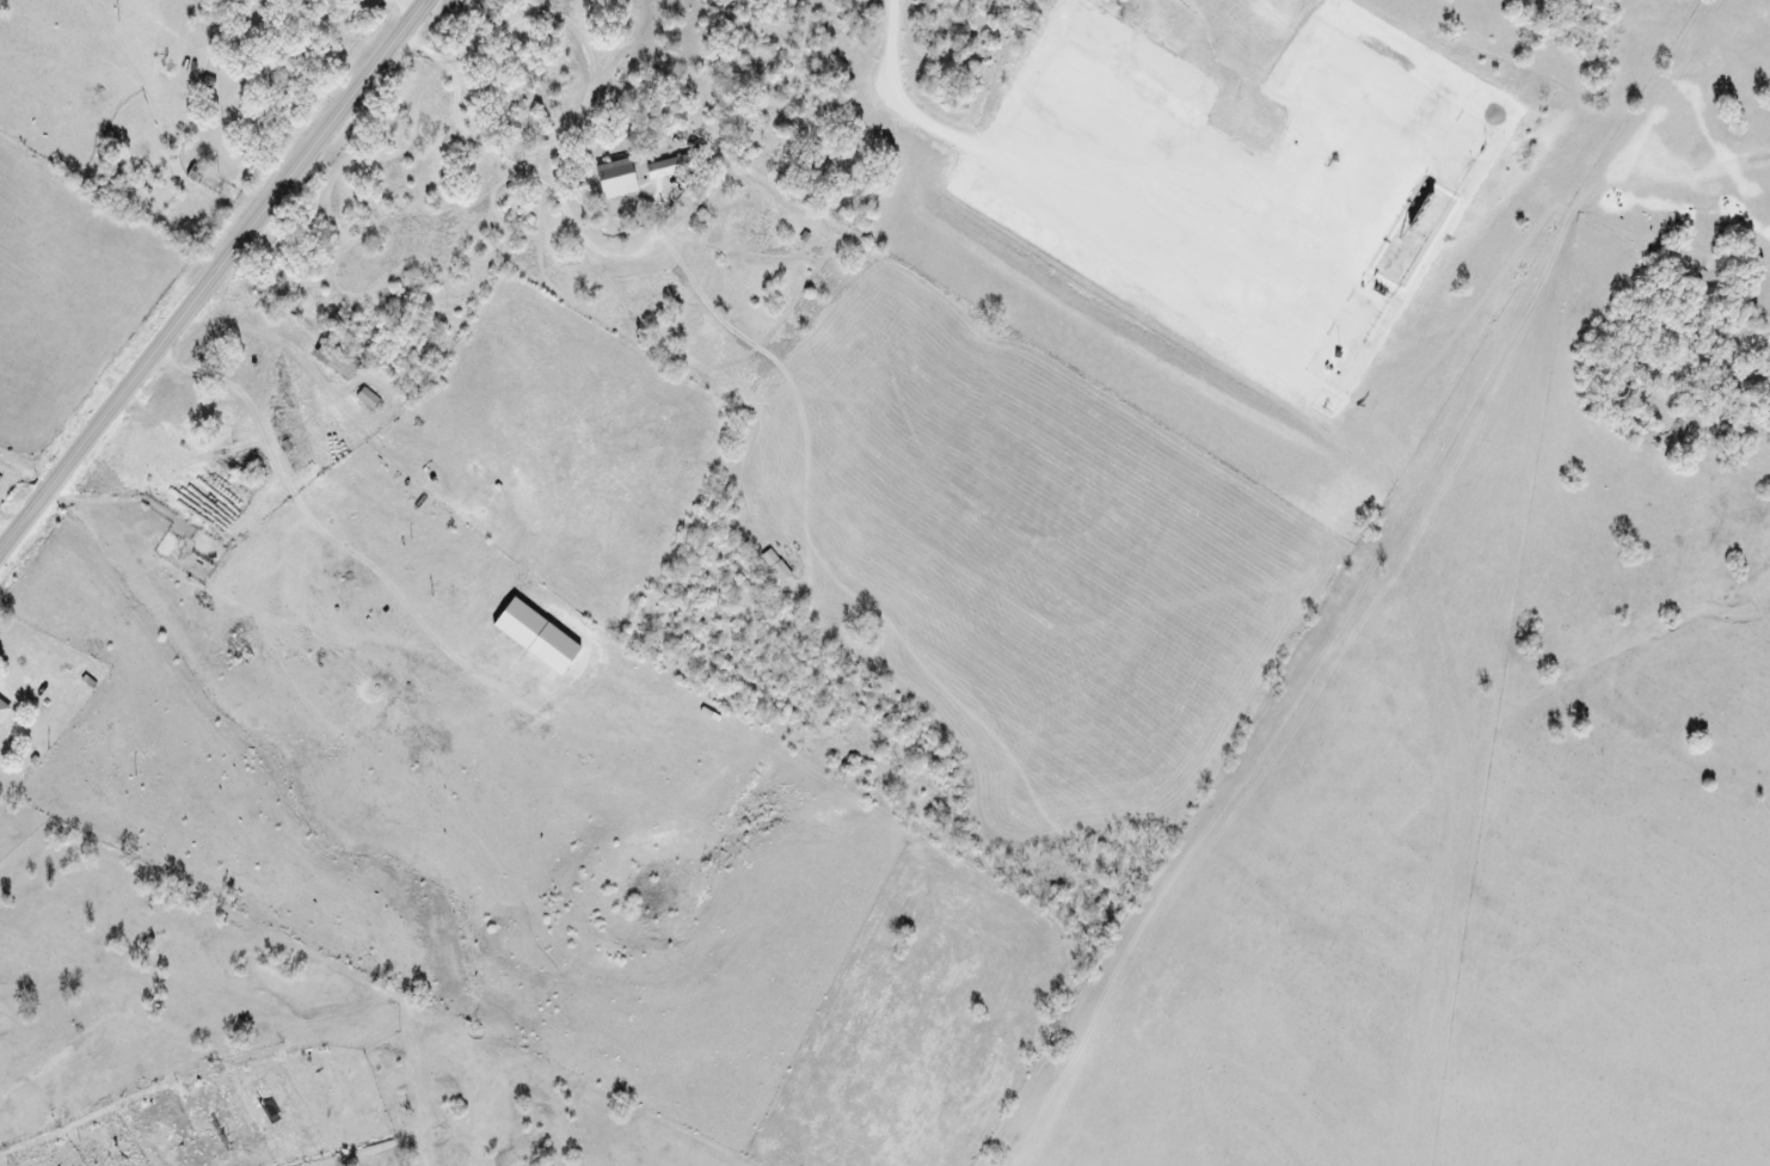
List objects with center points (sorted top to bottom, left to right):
road: (906, 116)
building: (671, 166)
building: (619, 178)
road: (210, 272)
building: (338, 361)
building: (368, 398)
building: (540, 637)
building: (4, 710)

